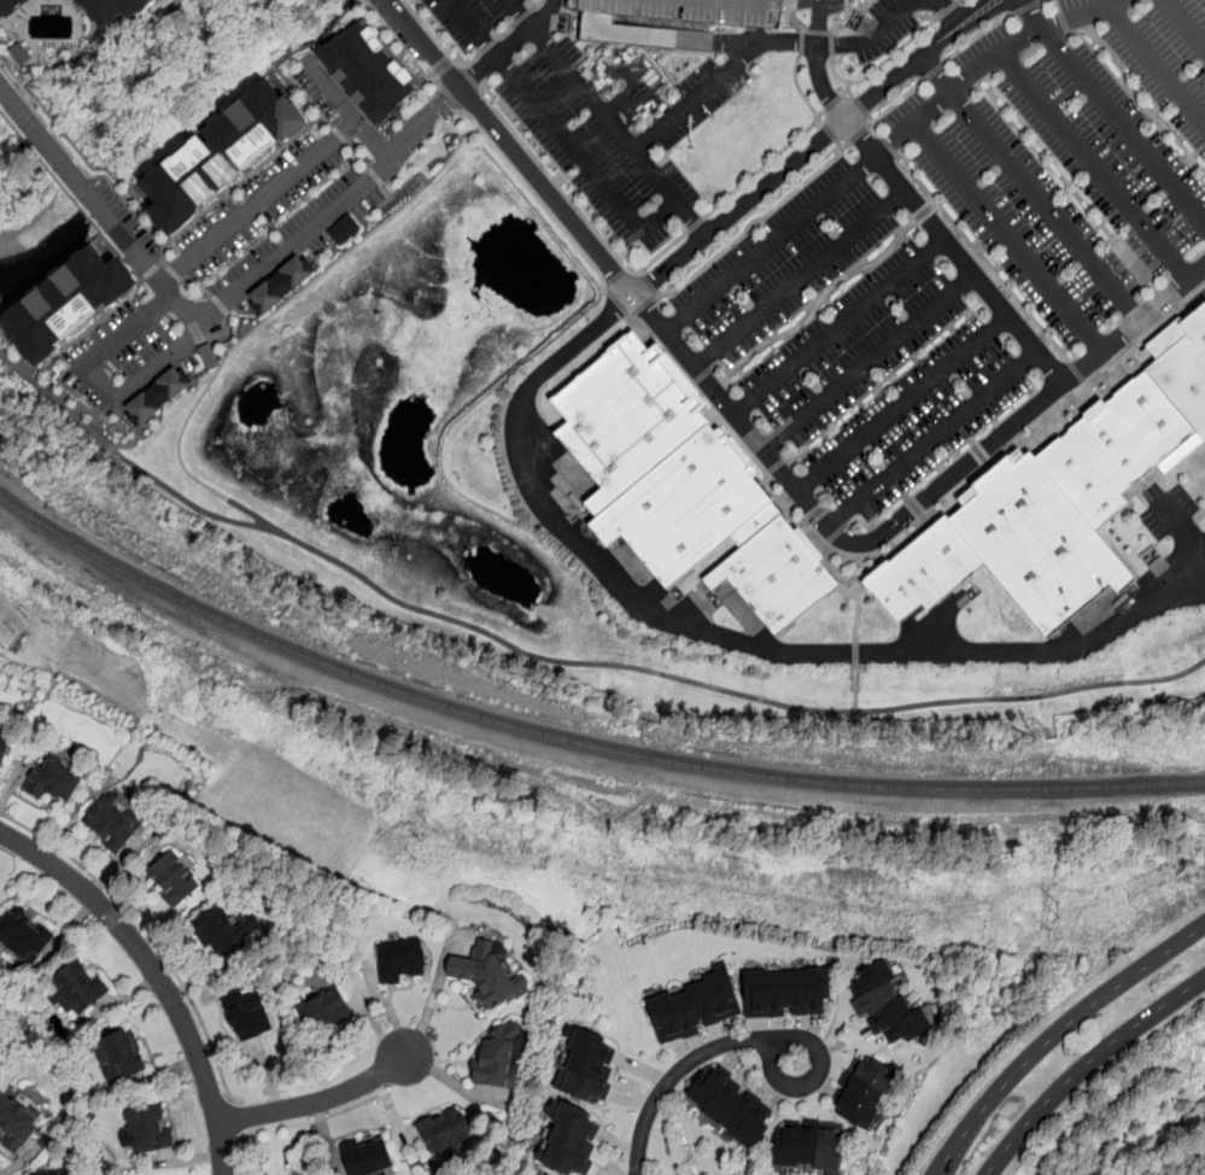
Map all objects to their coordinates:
road: (1042, 0)
road: (957, 1)
building: (8, 6)
road: (1026, 6)
road: (1057, 6)
road: (859, 7)
building: (117, 8)
building: (692, 10)
parking garage: (692, 10)
road: (946, 10)
road: (521, 13)
road: (944, 13)
road: (1033, 13)
road: (842, 16)
road: (890, 22)
road: (1063, 22)
road: (1187, 22)
road: (977, 35)
road: (438, 42)
road: (803, 42)
road: (831, 42)
road: (402, 43)
road: (513, 45)
road: (744, 57)
road: (1158, 60)
road: (879, 63)
building: (370, 70)
road: (934, 70)
road: (630, 75)
road: (937, 75)
road: (469, 77)
road: (846, 88)
road: (800, 90)
road: (849, 92)
road: (1133, 97)
road: (451, 98)
road: (832, 101)
road: (895, 101)
road: (860, 104)
road: (349, 109)
road: (682, 109)
parking lot: (593, 111)
road: (873, 123)
road: (1123, 124)
road: (829, 131)
road: (856, 134)
road: (840, 144)
road: (887, 144)
road: (813, 147)
road: (509, 148)
road: (882, 151)
building: (221, 153)
road: (764, 163)
road: (1099, 165)
road: (534, 194)
road: (261, 200)
road: (913, 200)
road: (1048, 206)
road: (577, 210)
road: (925, 211)
road: (632, 217)
road: (690, 217)
road: (753, 218)
road: (696, 223)
building: (344, 229)
road: (1011, 235)
road: (981, 257)
parking lot: (960, 262)
road: (615, 276)
road: (799, 279)
building: (280, 283)
road: (649, 283)
building: (70, 303)
road: (815, 304)
road: (213, 311)
road: (269, 317)
road: (838, 327)
road: (867, 361)
road: (1075, 370)
building: (1186, 370)
road: (99, 380)
building: (158, 394)
road: (901, 402)
road: (930, 437)
building: (1118, 446)
building: (684, 486)
parking lot: (1169, 510)
road: (903, 521)
building: (1040, 542)
building: (926, 569)
power tower: (14, 632)
road: (730, 637)
road: (855, 645)
road: (565, 660)
railway: (577, 742)
building: (2, 748)
building: (52, 782)
building: (112, 824)
power tower: (423, 840)
building: (172, 878)
power tower: (1057, 911)
power tower: (868, 918)
building: (217, 933)
road: (148, 935)
building: (23, 937)
building: (399, 960)
building: (487, 974)
road: (157, 975)
building: (75, 989)
building: (785, 993)
road: (431, 996)
building: (887, 1005)
building: (694, 1007)
building: (323, 1010)
building: (248, 1016)
road: (1057, 1034)
road: (785, 1039)
building: (122, 1056)
building: (502, 1057)
road: (1084, 1064)
building: (587, 1066)
road: (675, 1075)
road: (1096, 1076)
building: (864, 1093)
road: (315, 1103)
building: (729, 1107)
road: (236, 1120)
building: (17, 1121)
road: (297, 1122)
building: (147, 1130)
building: (446, 1133)
building: (571, 1141)
building: (808, 1147)
building: (368, 1157)
building: (55, 1173)
building: (546, 1174)

